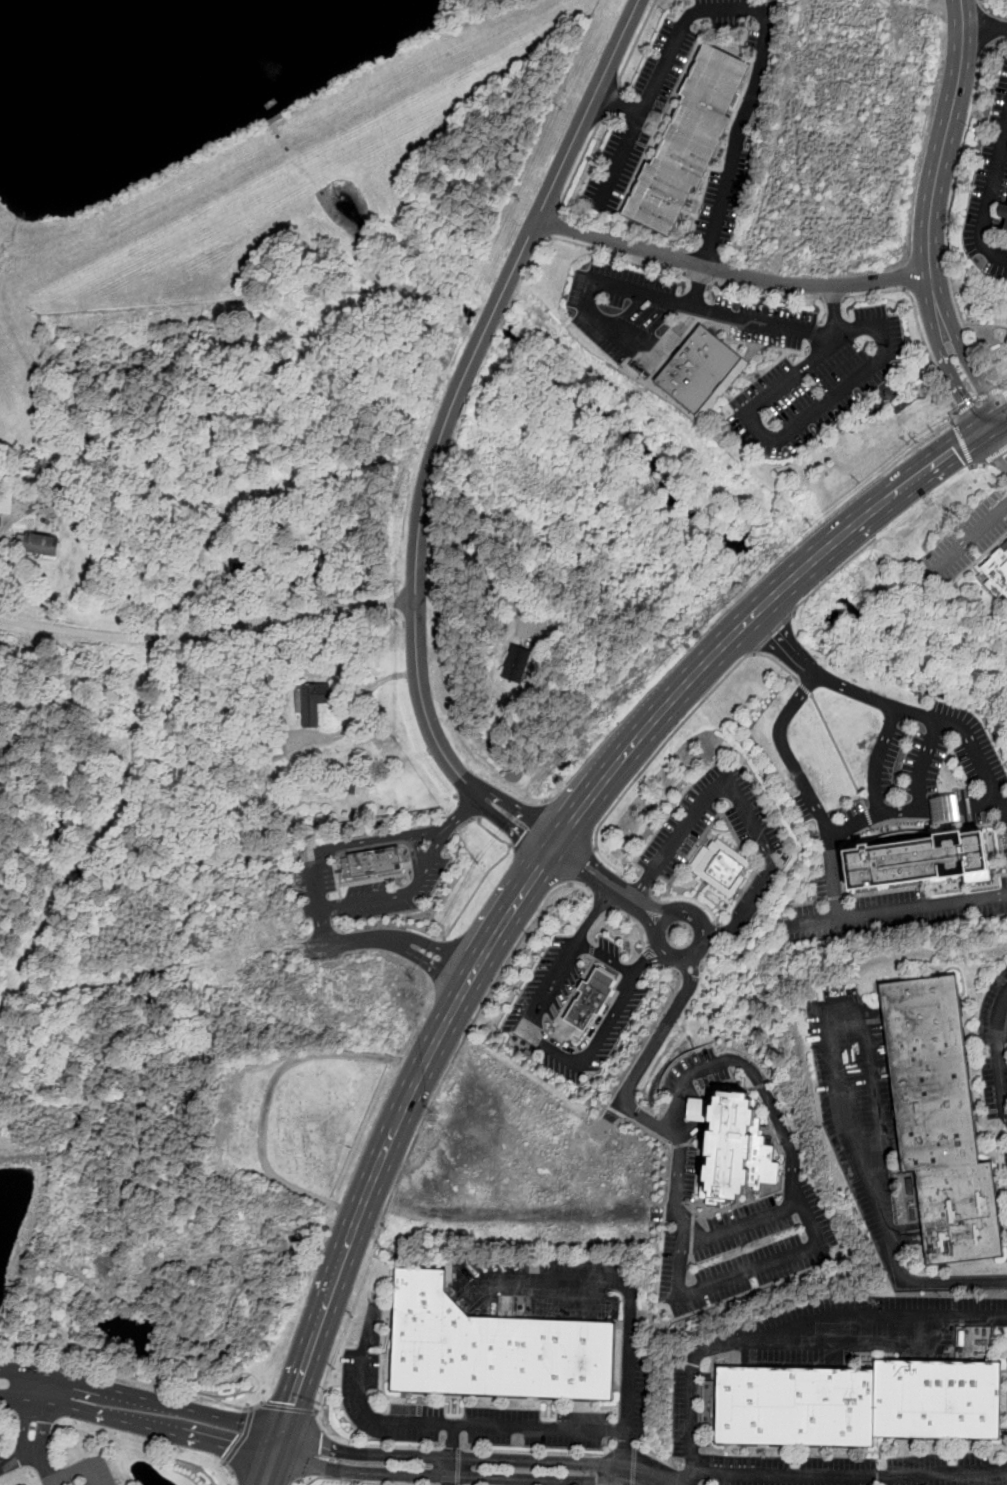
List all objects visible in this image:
road: (981, 2)
road: (985, 24)
road: (984, 28)
road: (631, 51)
parking lot: (657, 93)
road: (607, 103)
road: (629, 139)
building: (687, 141)
road: (579, 165)
parking lot: (990, 188)
road: (952, 195)
road: (988, 198)
parking lot: (723, 199)
road: (722, 203)
building: (1004, 211)
road: (931, 215)
road: (553, 221)
building: (1006, 228)
road: (568, 241)
road: (731, 270)
road: (701, 279)
road: (770, 293)
road: (833, 299)
road: (834, 309)
parking lot: (851, 362)
building: (700, 368)
road: (1004, 387)
road: (1005, 391)
road: (979, 399)
road: (744, 409)
traffic signals: (988, 424)
road: (442, 428)
road: (939, 432)
road: (997, 440)
road: (963, 443)
road: (993, 456)
road: (978, 465)
building: (5, 501)
building: (39, 542)
road: (966, 542)
road: (833, 544)
parking lot: (963, 544)
road: (483, 565)
building: (997, 571)
road: (832, 576)
road: (208, 632)
road: (774, 633)
building: (516, 664)
road: (815, 674)
road: (805, 688)
building: (313, 701)
road: (358, 712)
road: (923, 714)
road: (666, 742)
road: (841, 755)
parking lot: (980, 760)
parking lot: (884, 761)
road: (924, 762)
road: (808, 790)
road: (740, 798)
building: (943, 807)
road: (912, 810)
road: (473, 812)
parking lot: (682, 830)
road: (456, 832)
road: (355, 844)
parking lot: (1006, 851)
road: (437, 853)
road: (417, 856)
building: (920, 857)
building: (371, 862)
road: (581, 865)
building: (724, 867)
road: (604, 879)
road: (643, 886)
parking lot: (359, 888)
road: (399, 894)
road: (689, 897)
road: (601, 903)
road: (897, 910)
parking lot: (899, 912)
road: (594, 913)
road: (638, 927)
road: (451, 928)
road: (609, 931)
road: (716, 932)
road: (362, 939)
road: (409, 940)
road: (701, 949)
parking lot: (609, 952)
road: (448, 953)
road: (606, 957)
road: (644, 959)
road: (430, 966)
building: (590, 998)
parking lot: (540, 1003)
road: (841, 1005)
road: (467, 1032)
parking lot: (995, 1044)
road: (434, 1047)
road: (553, 1047)
road: (998, 1053)
road: (650, 1055)
parking lot: (697, 1072)
road: (268, 1097)
parking lot: (858, 1102)
park: (305, 1118)
building: (941, 1120)
building: (737, 1149)
parking lot: (1006, 1158)
road: (793, 1185)
parking lot: (737, 1241)
road: (683, 1244)
road: (937, 1282)
parking lot: (535, 1284)
road: (792, 1324)
parking lot: (864, 1327)
road: (835, 1338)
building: (492, 1347)
road: (628, 1356)
parking lot: (361, 1373)
road: (133, 1380)
parking lot: (634, 1396)
building: (859, 1401)
road: (363, 1405)
road: (288, 1408)
parking lot: (686, 1410)
road: (140, 1412)
road: (240, 1436)
road: (32, 1437)
road: (452, 1454)
road: (626, 1457)
parking lot: (4, 1464)
road: (272, 1466)
road: (467, 1467)
road: (229, 1468)
parking lot: (852, 1470)
parking lot: (82, 1472)
road: (63, 1475)
road: (842, 1476)
road: (52, 1483)

